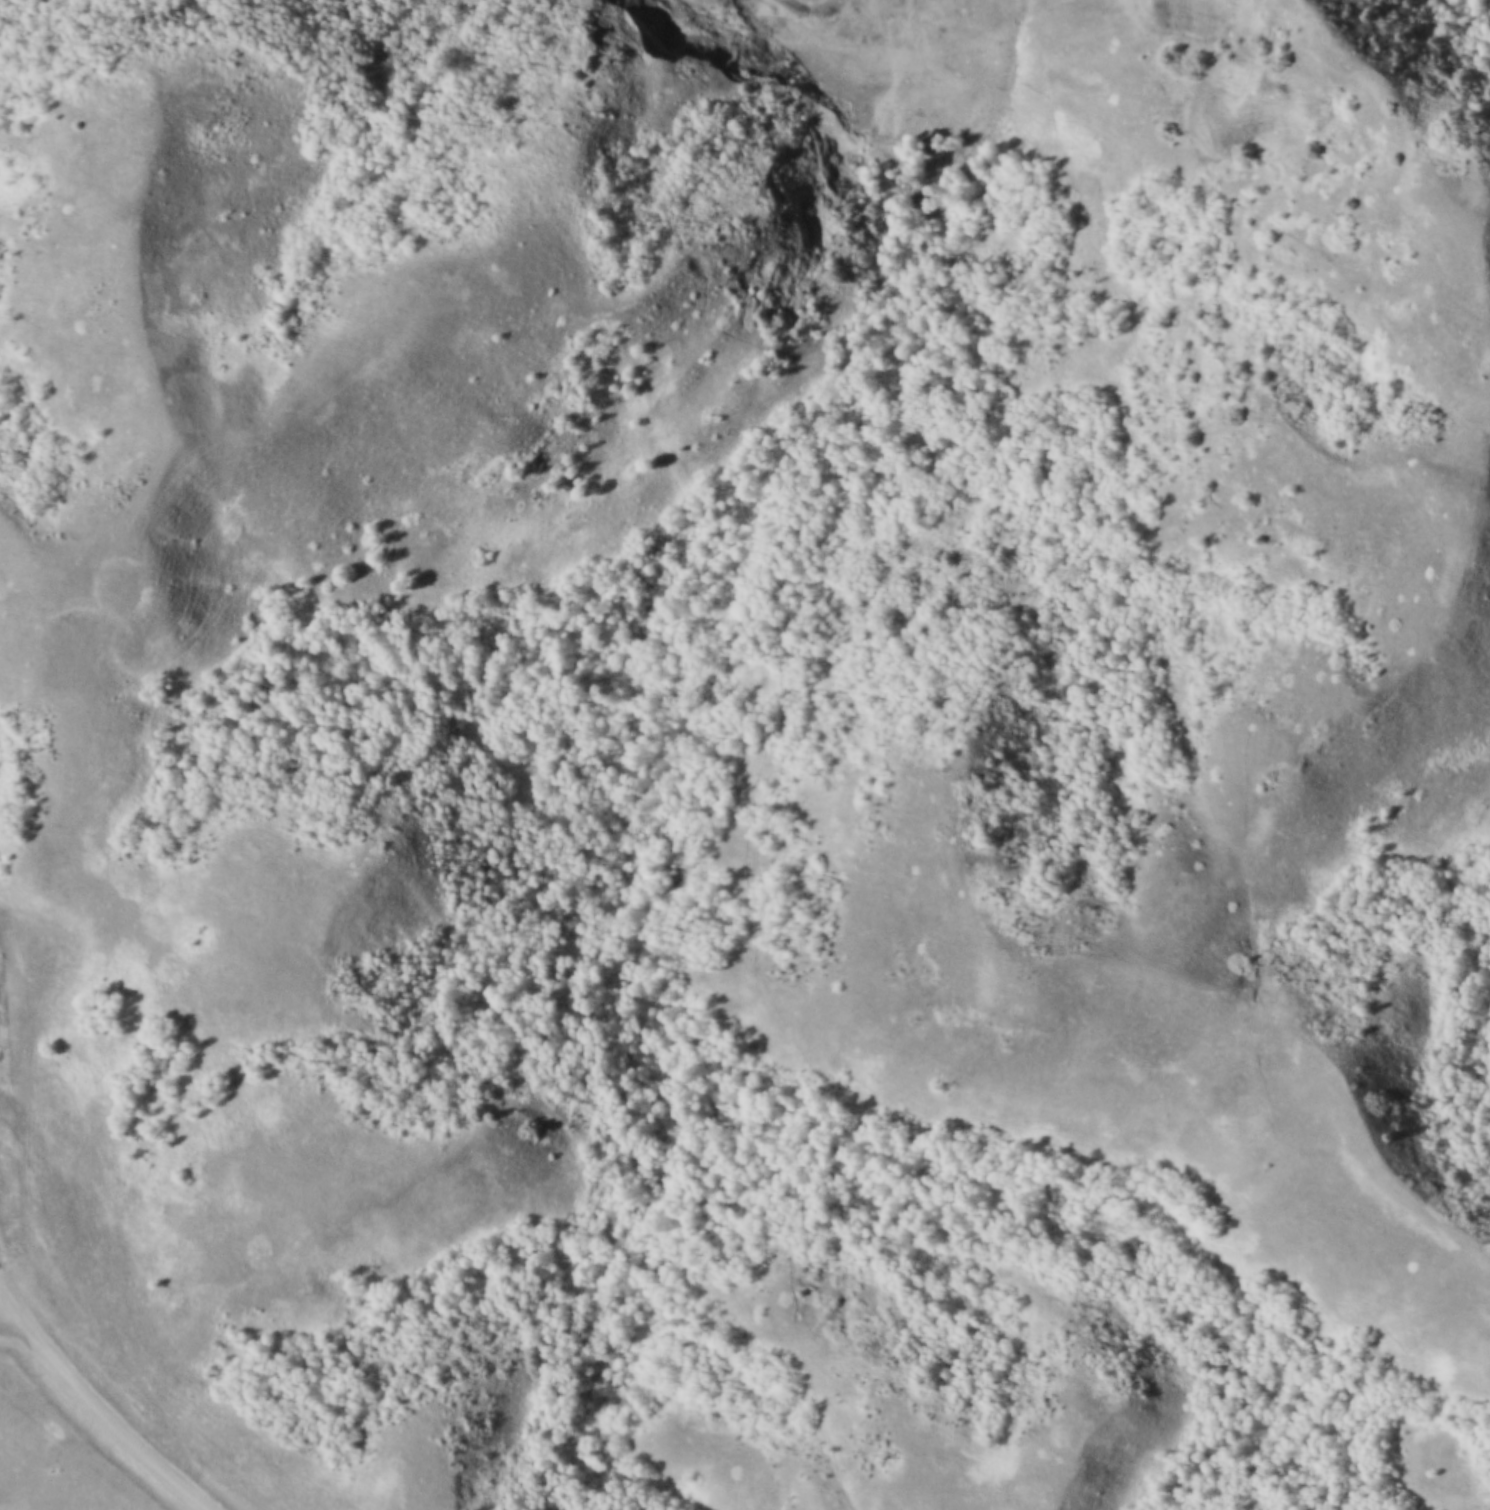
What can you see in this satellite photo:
road: (118, 1416)

